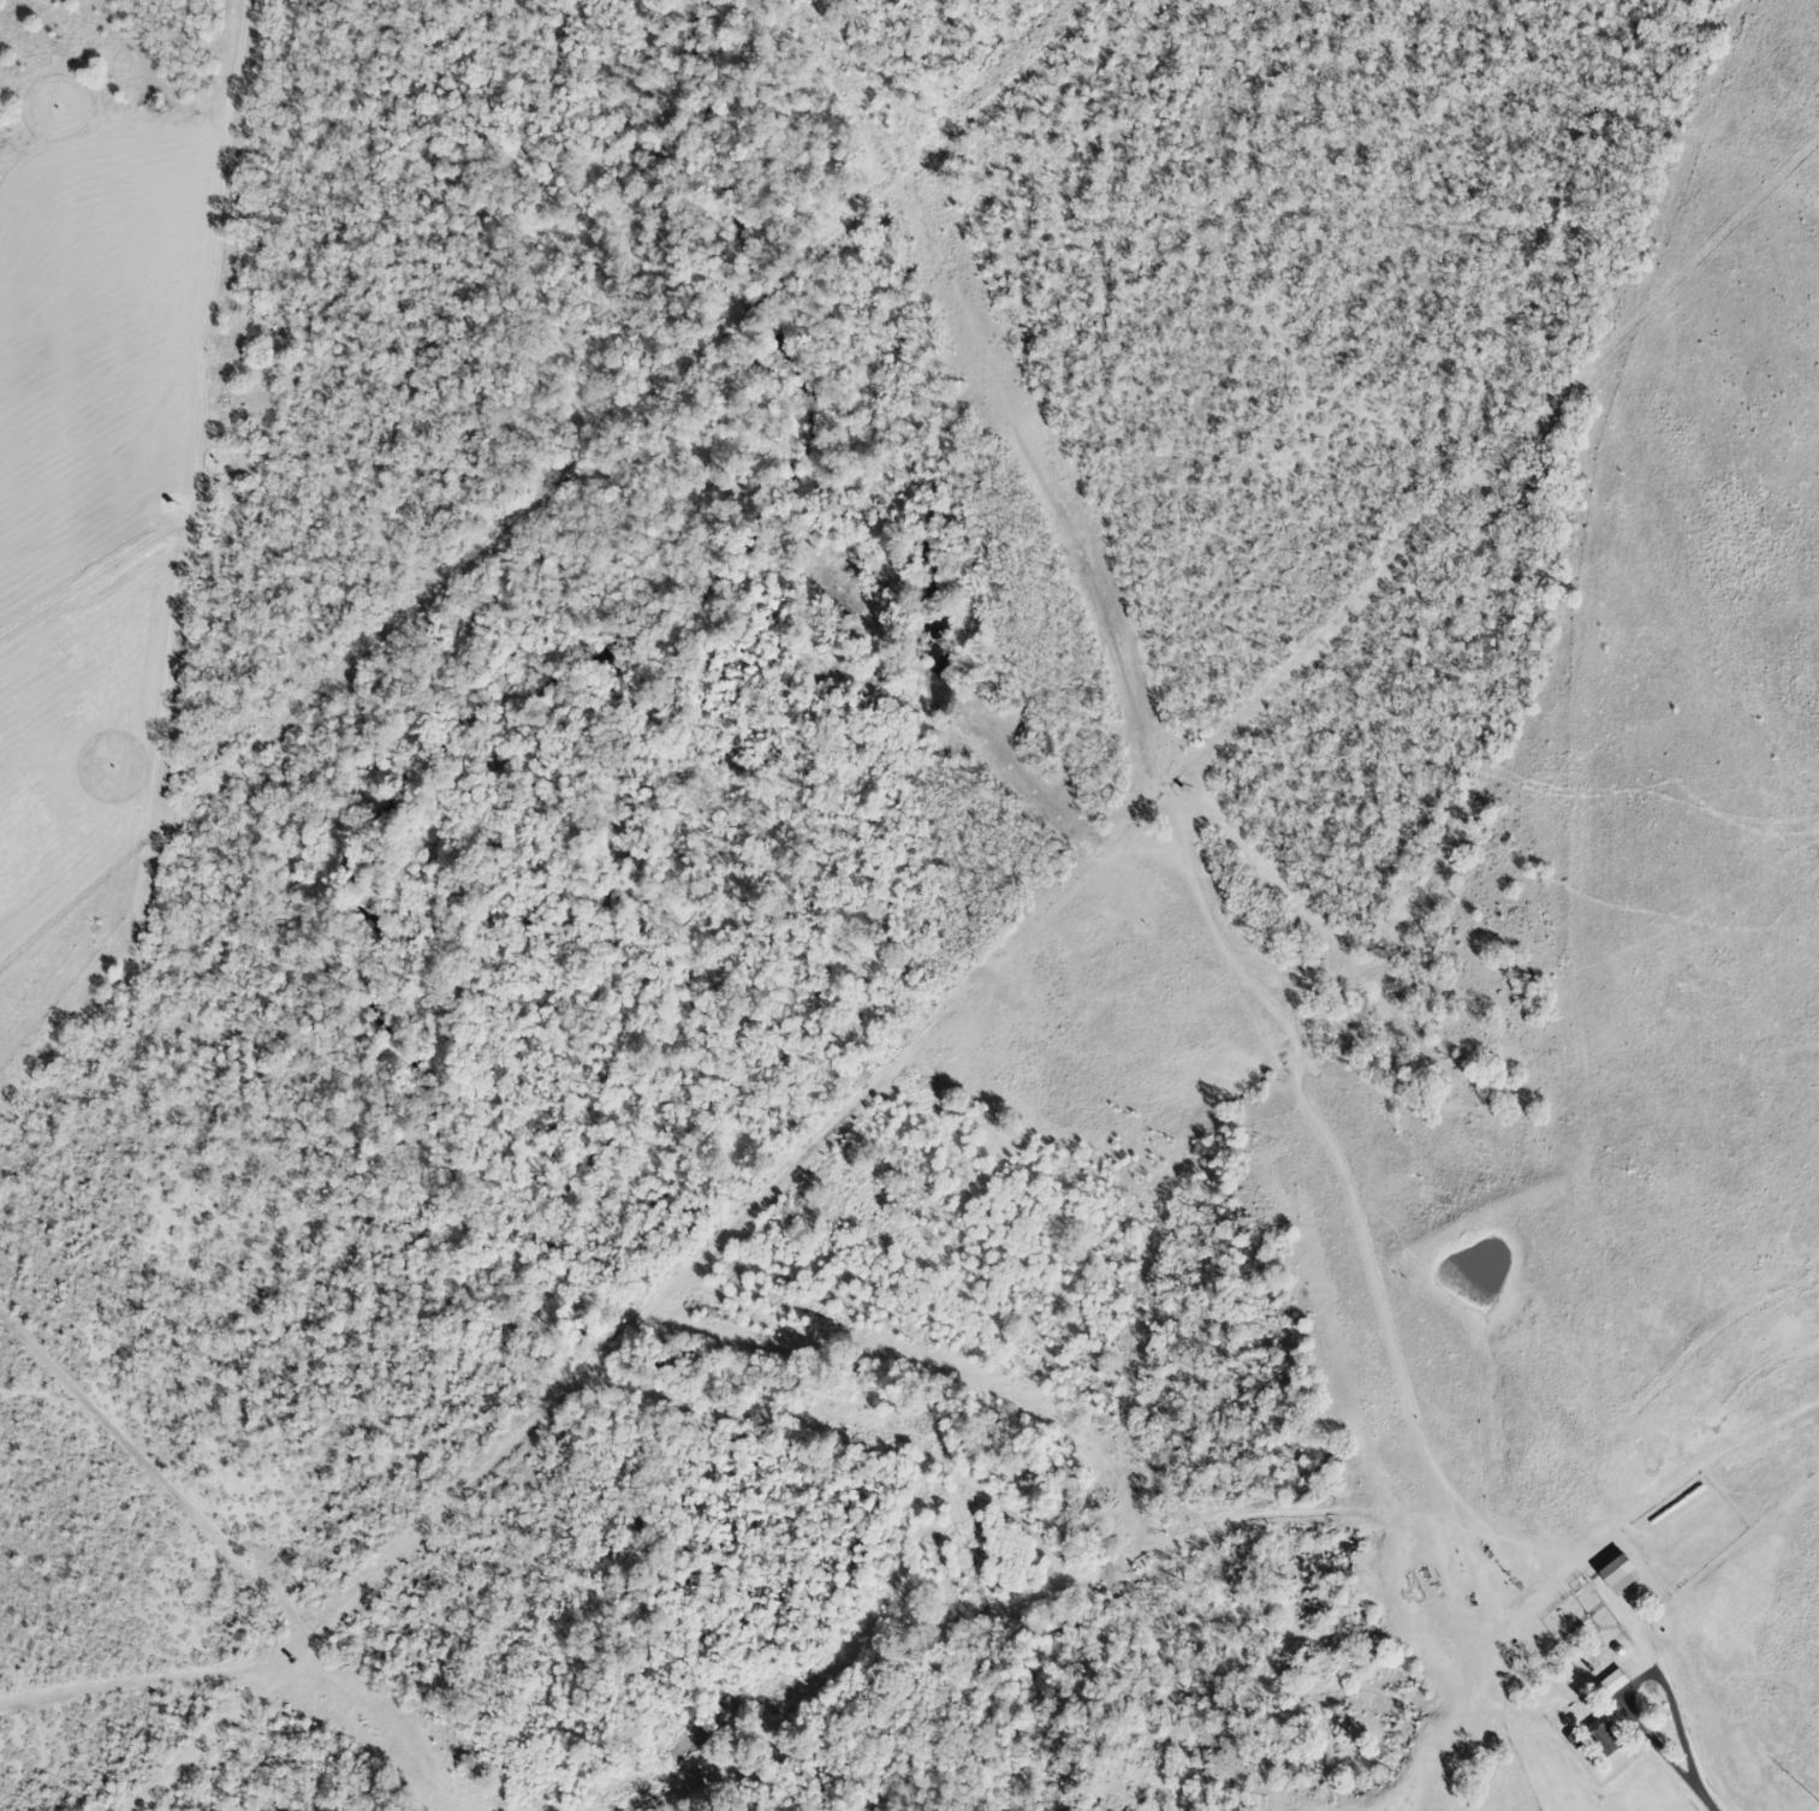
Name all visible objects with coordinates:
building: (1615, 1574)
road: (1639, 1680)
building: (1609, 1685)
building: (1600, 1736)
road: (1702, 1797)

